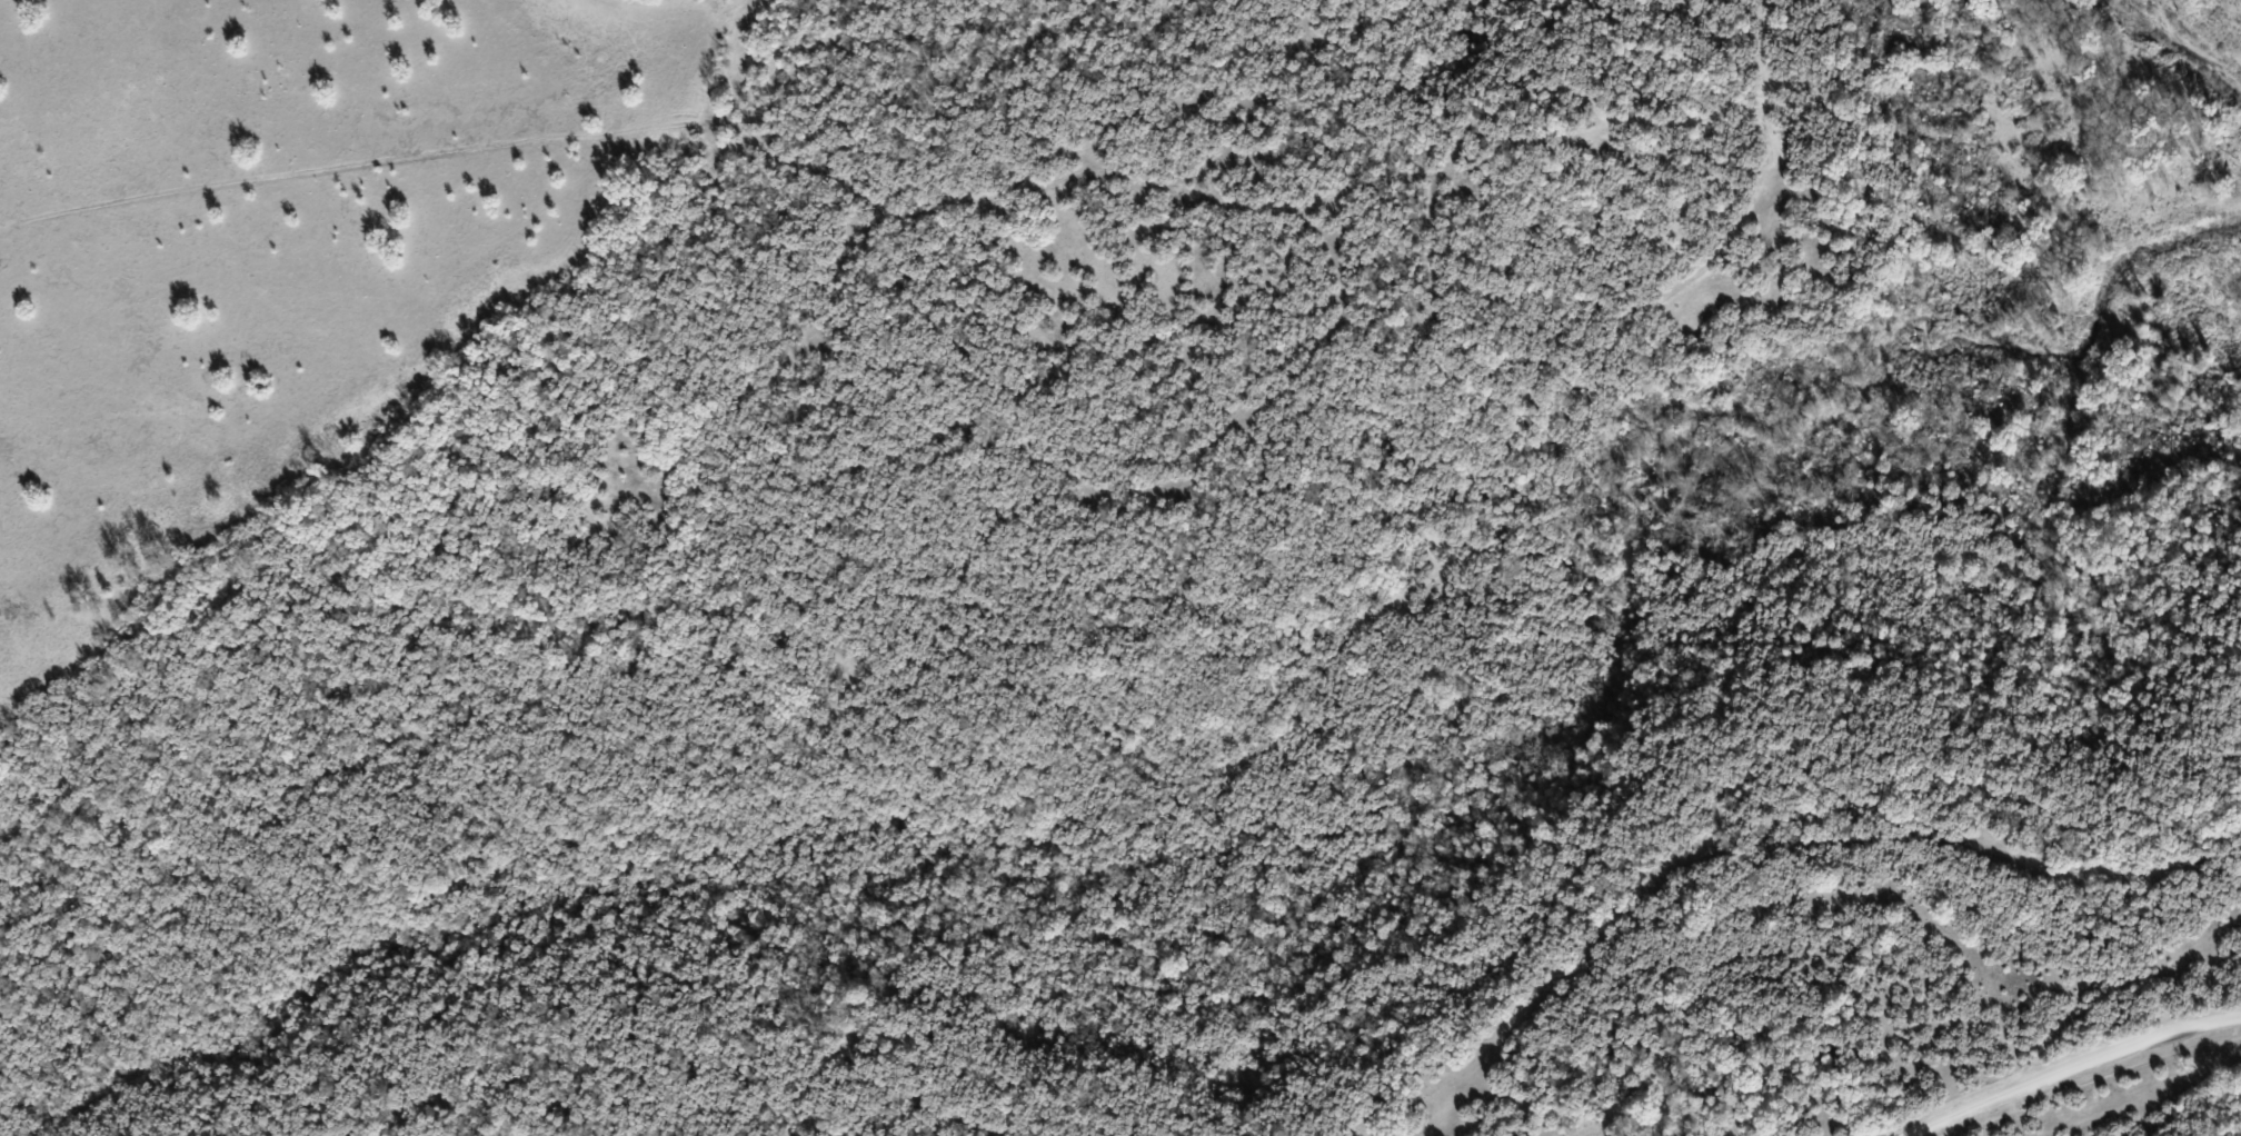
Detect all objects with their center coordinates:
road: (2071, 1070)

